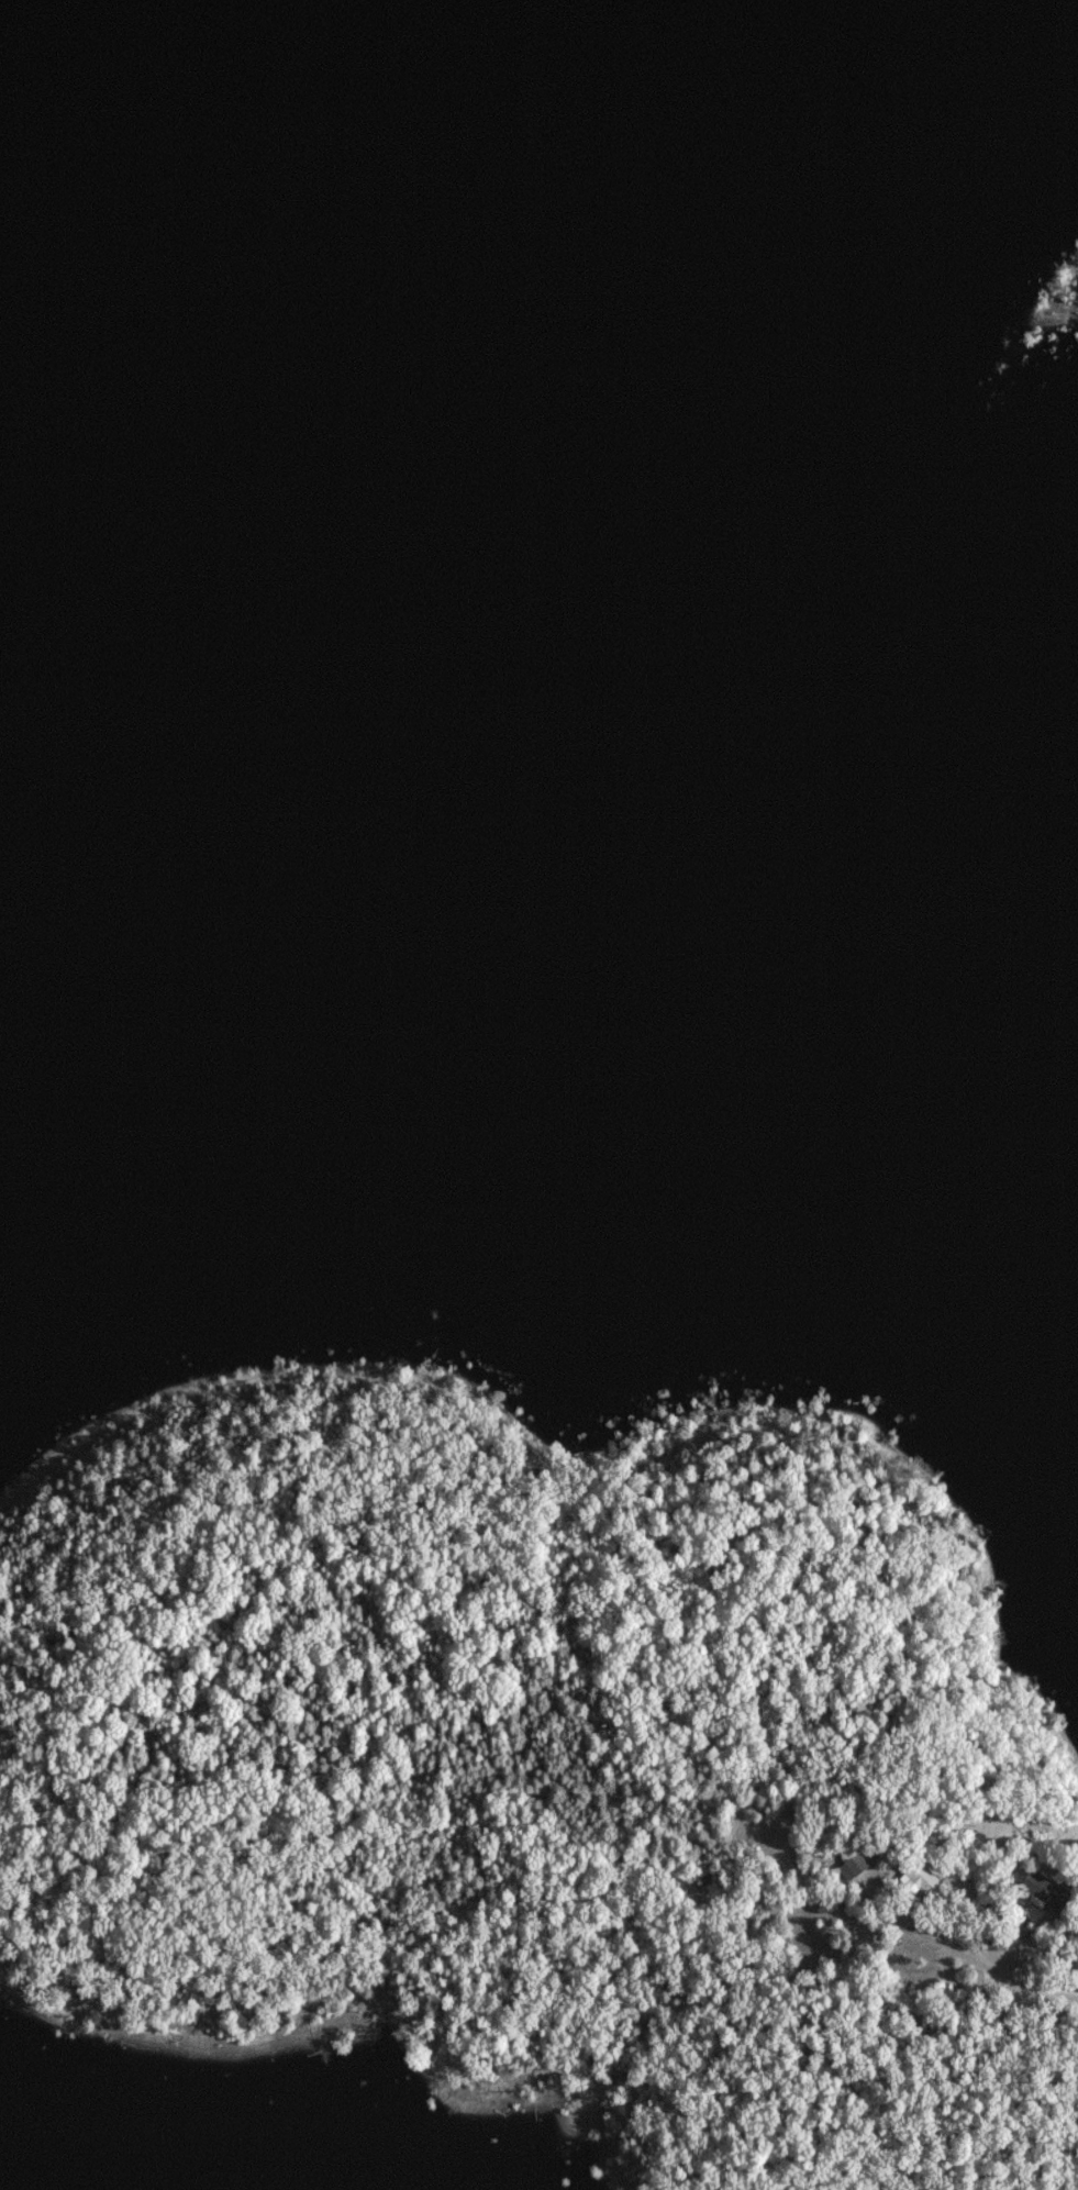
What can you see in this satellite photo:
building: (851, 1864)
building: (918, 1878)
road: (975, 1961)

